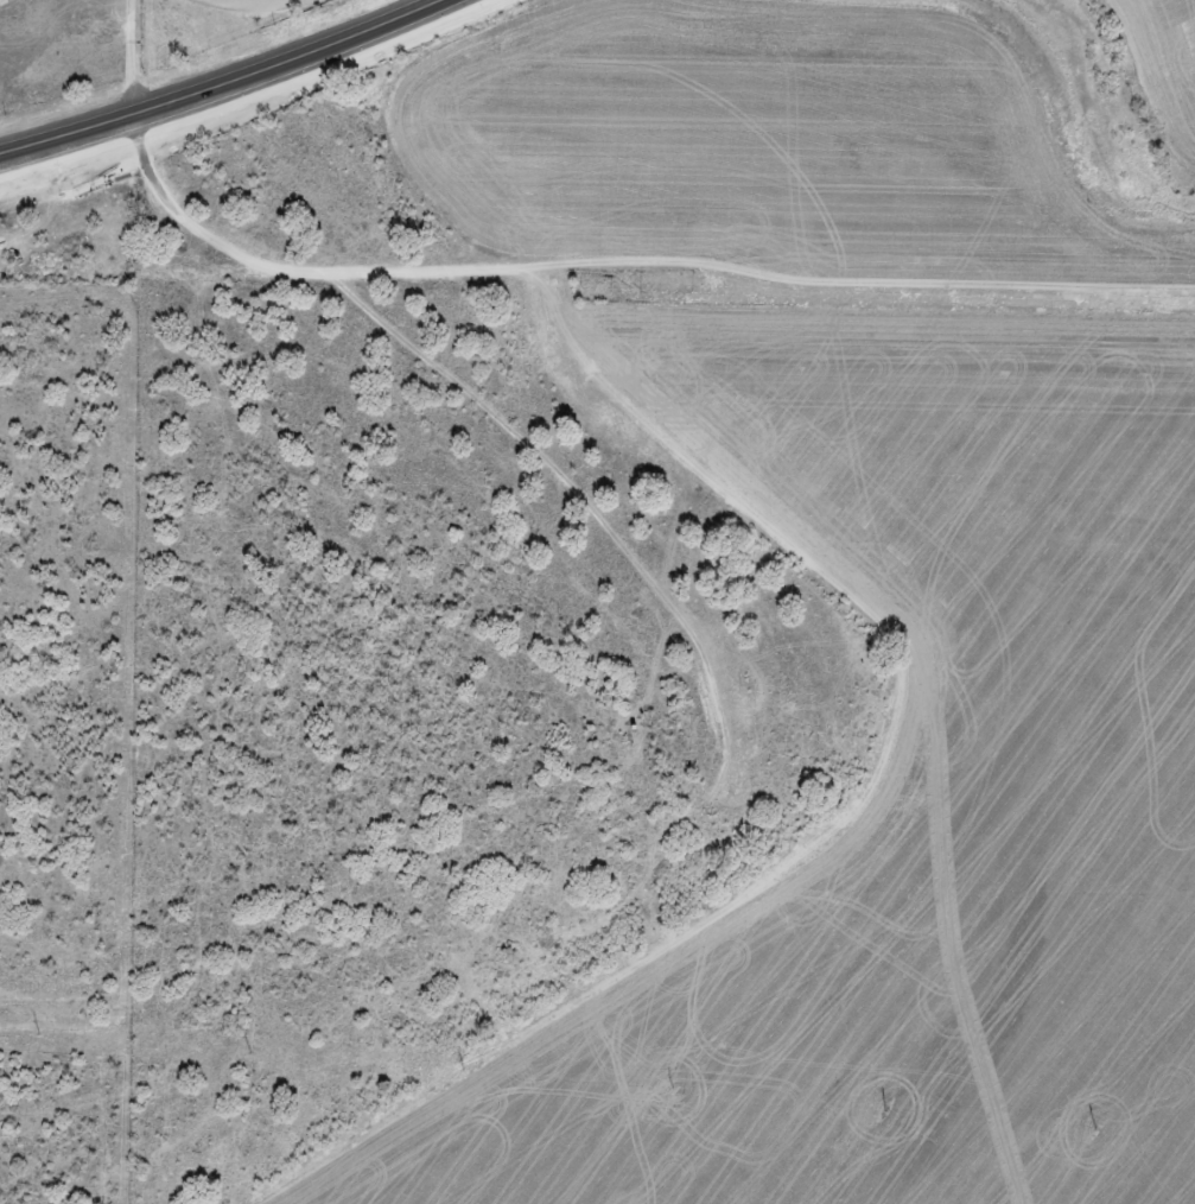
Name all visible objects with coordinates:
road: (126, 56)
road: (206, 83)

